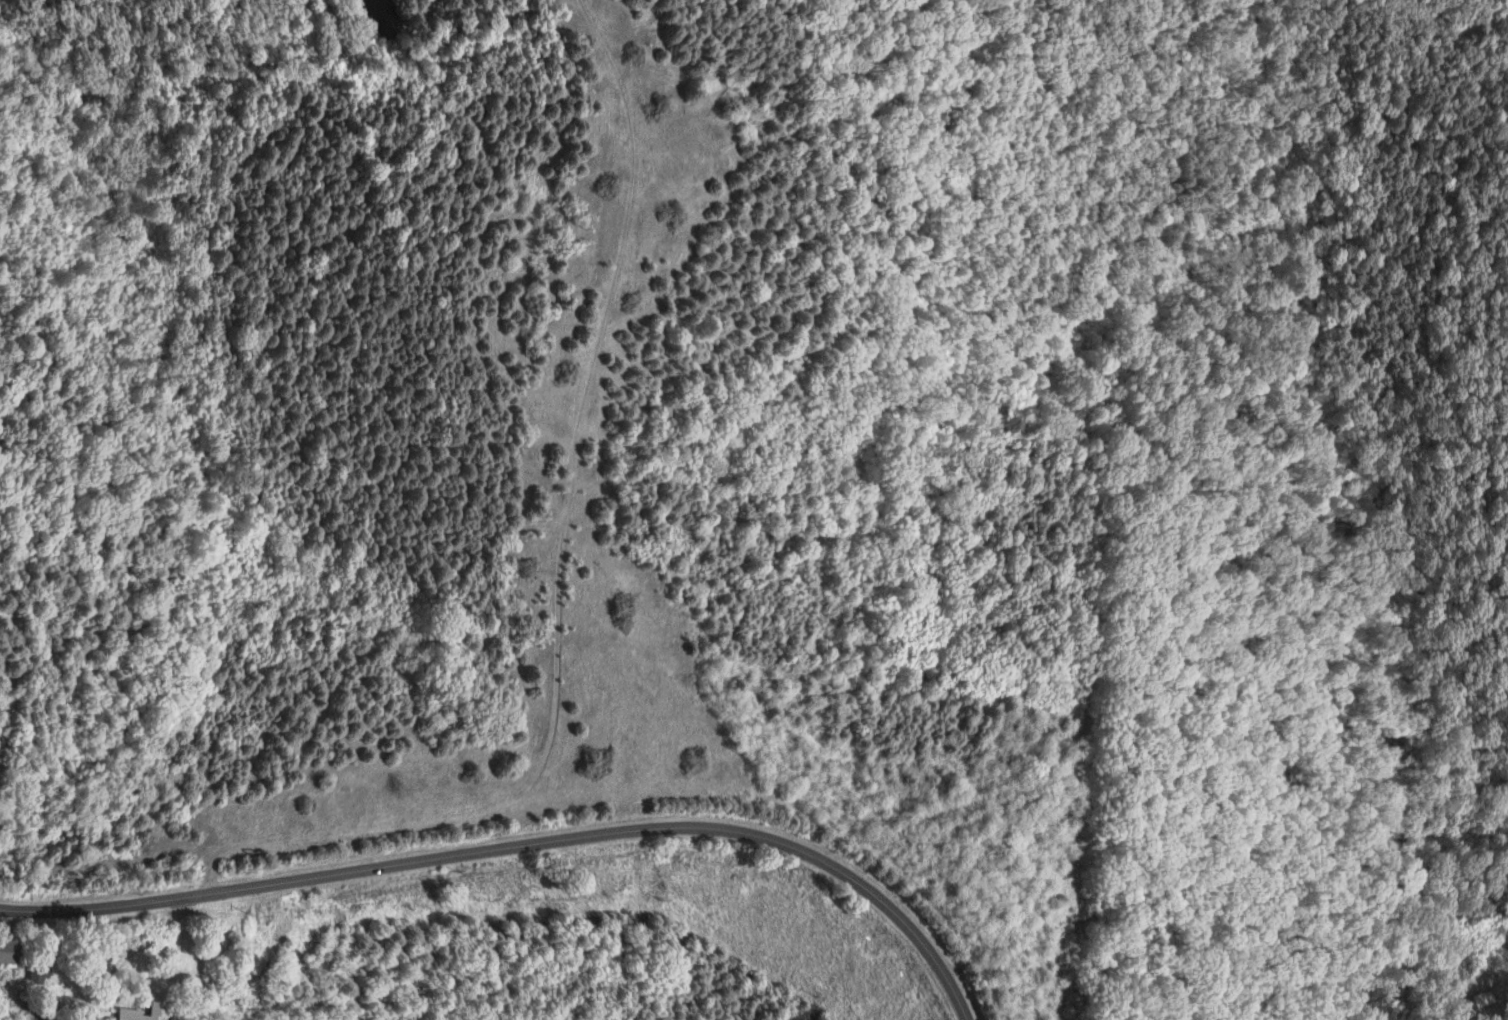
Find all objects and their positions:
road: (522, 849)
road: (103, 946)
building: (42, 973)
building: (165, 1003)

